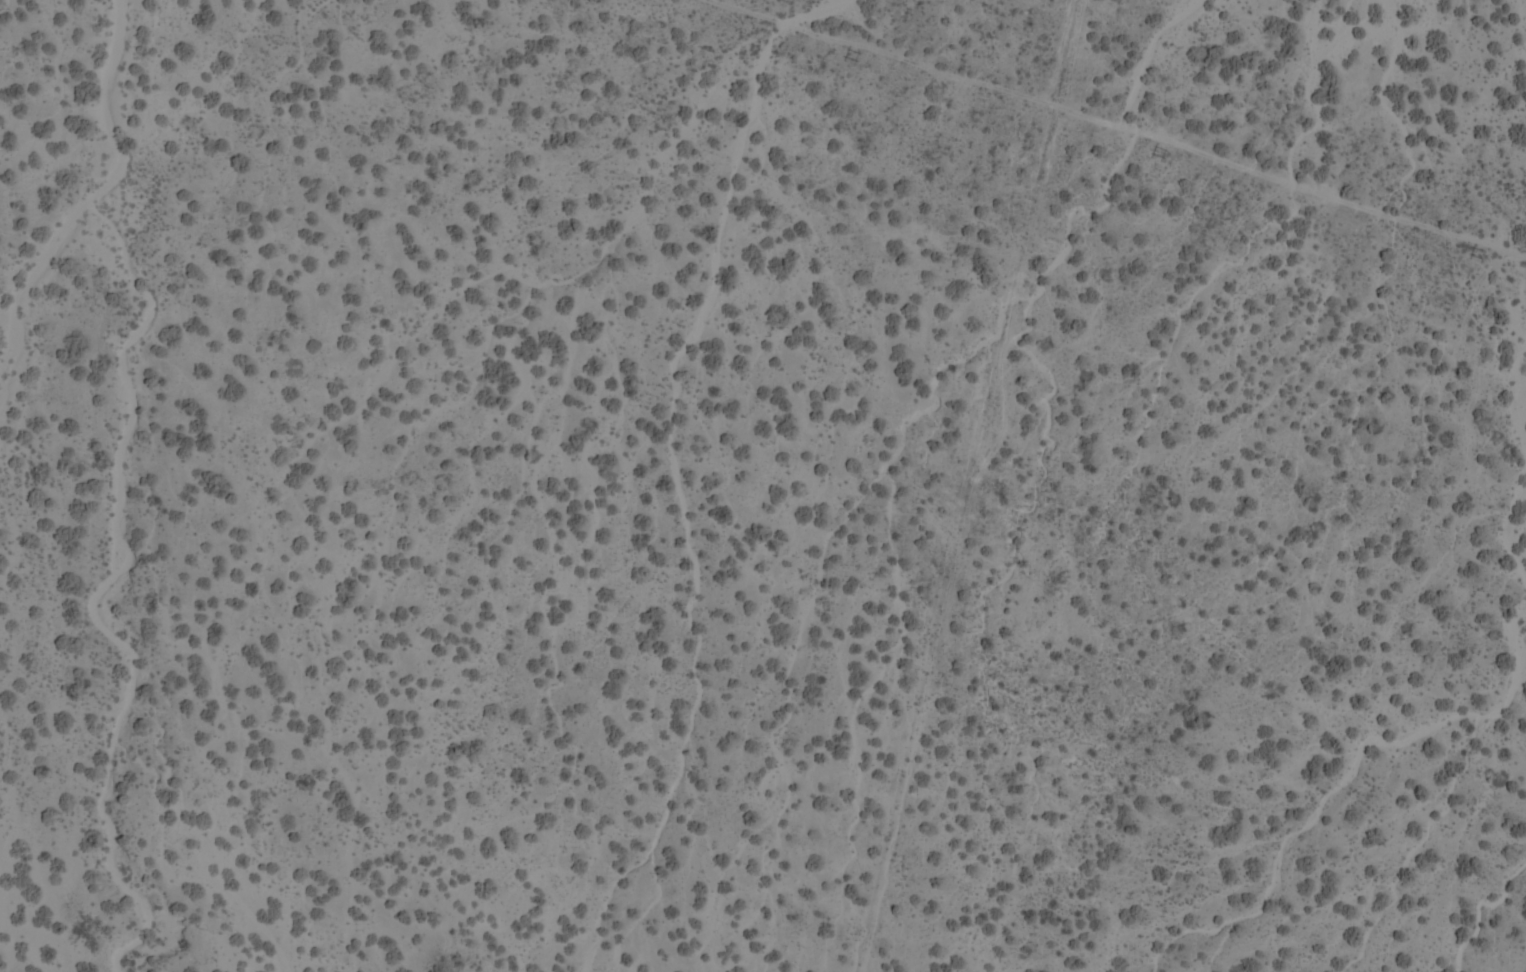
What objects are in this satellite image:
power tower: (861, 59)
power tower: (1168, 153)
power tower: (1485, 254)

